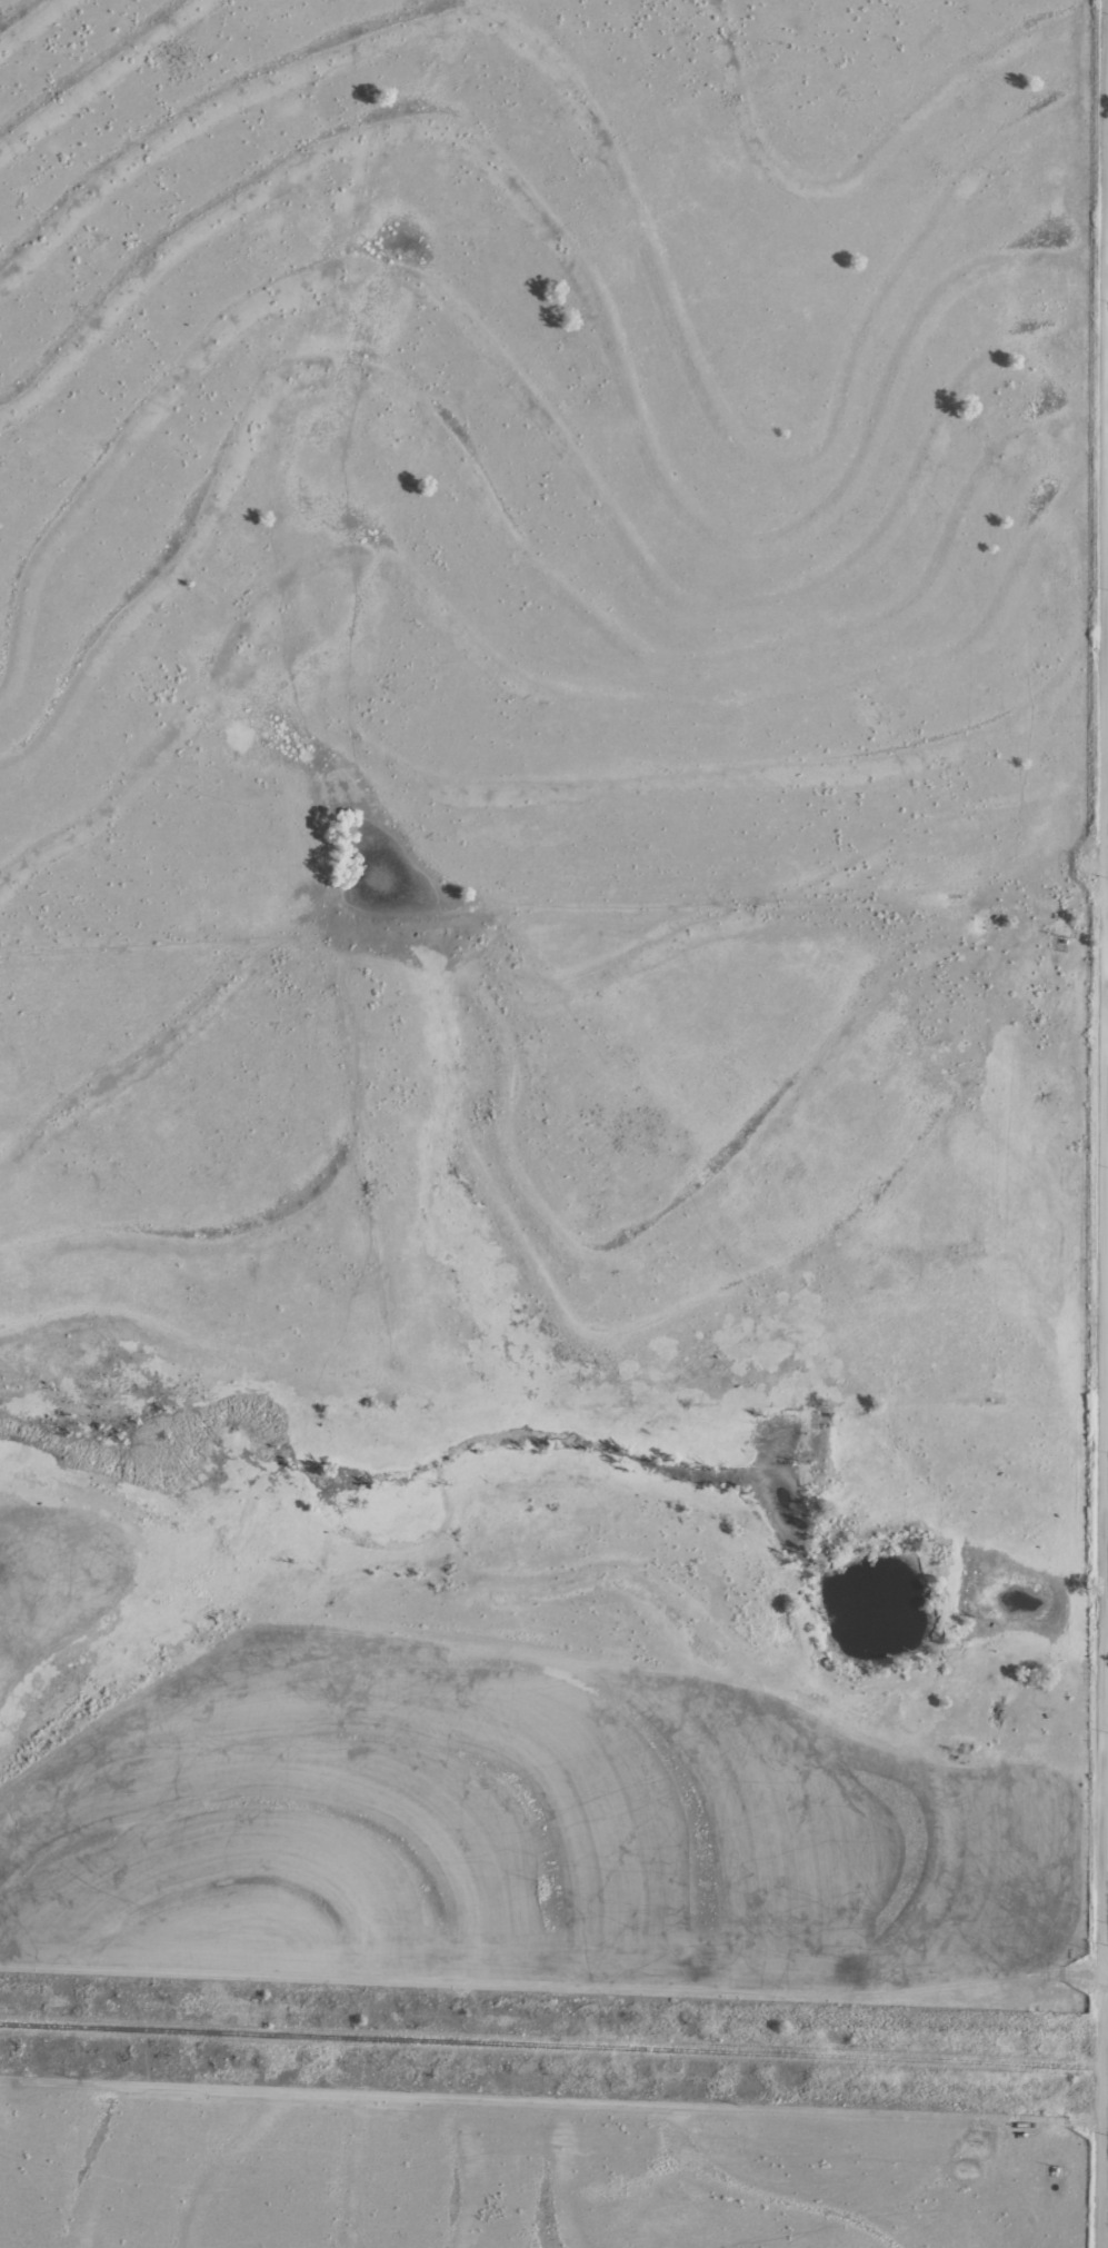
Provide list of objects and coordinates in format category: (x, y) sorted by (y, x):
building: (974, 1673)
road: (1107, 1863)
road: (1107, 1973)

